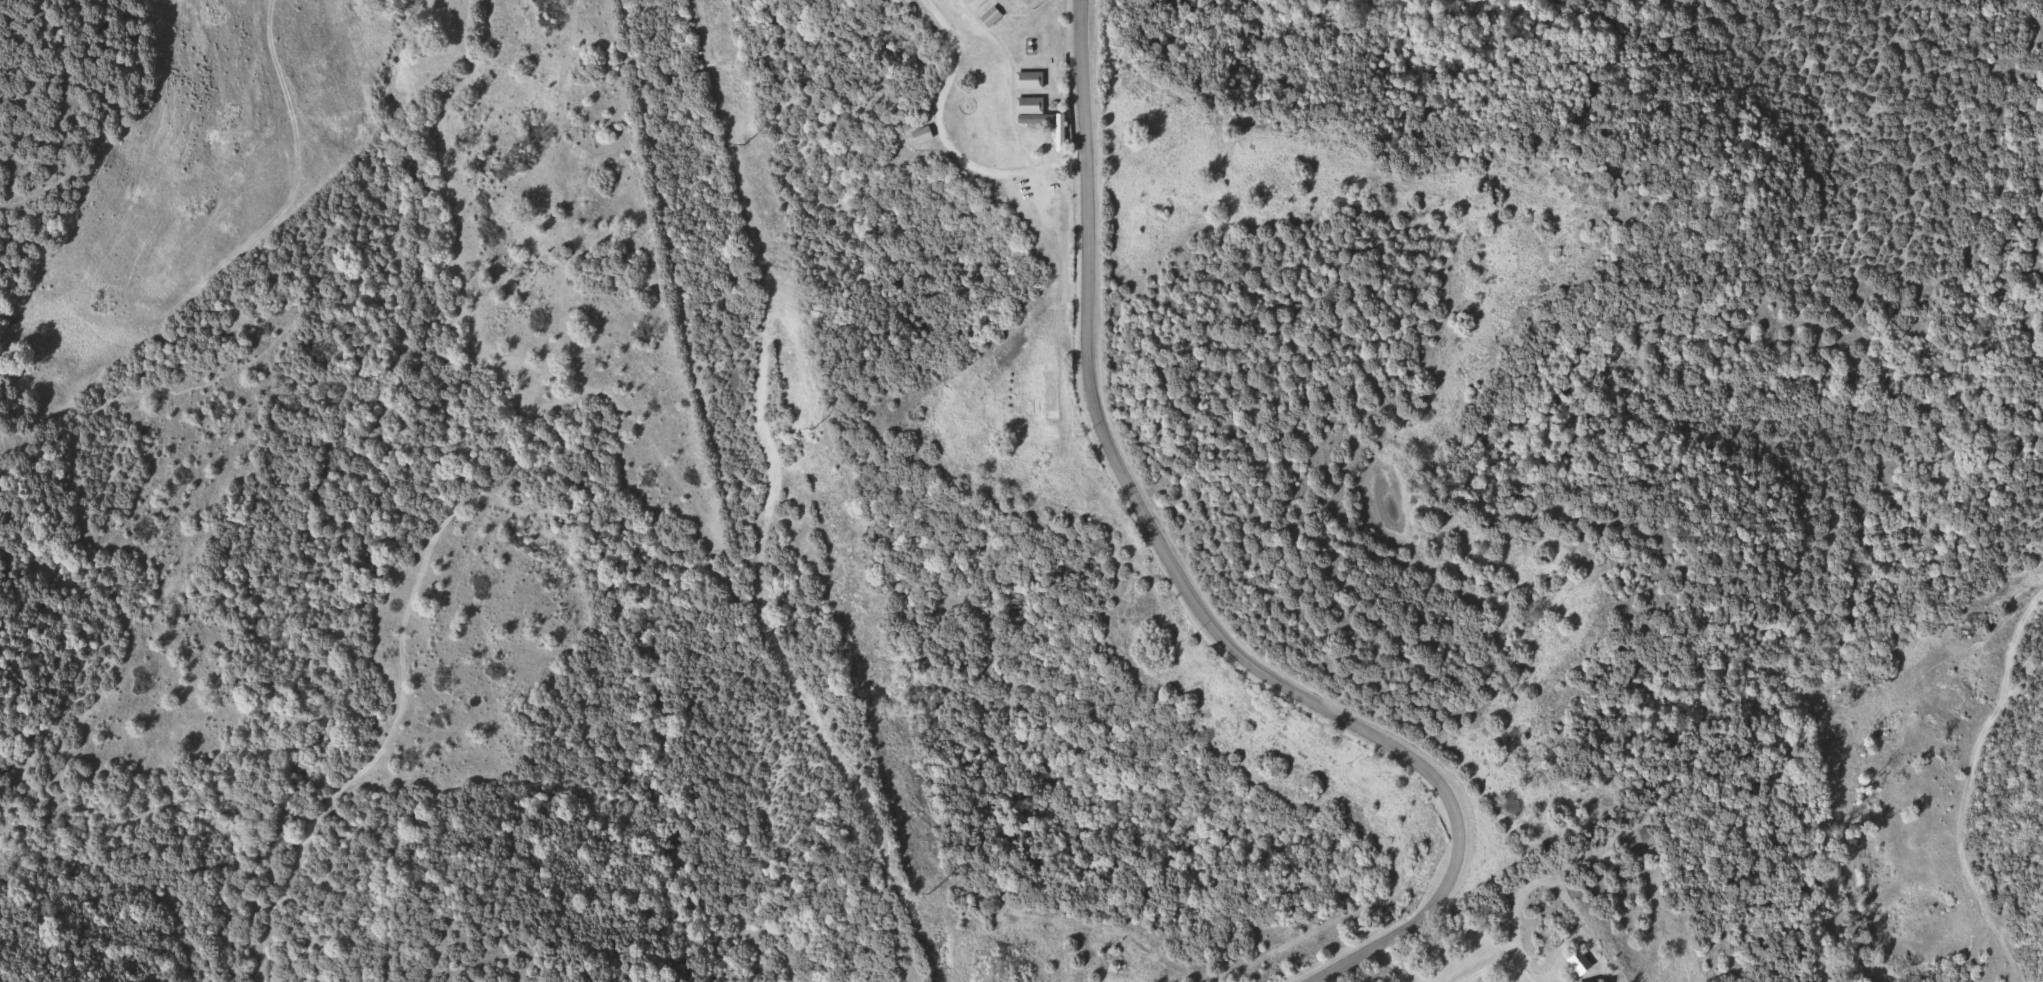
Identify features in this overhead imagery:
building: (977, 3)
building: (993, 17)
building: (1031, 80)
building: (1031, 105)
building: (923, 135)
road: (947, 140)
road: (1182, 584)
road: (814, 729)
building: (1646, 834)

